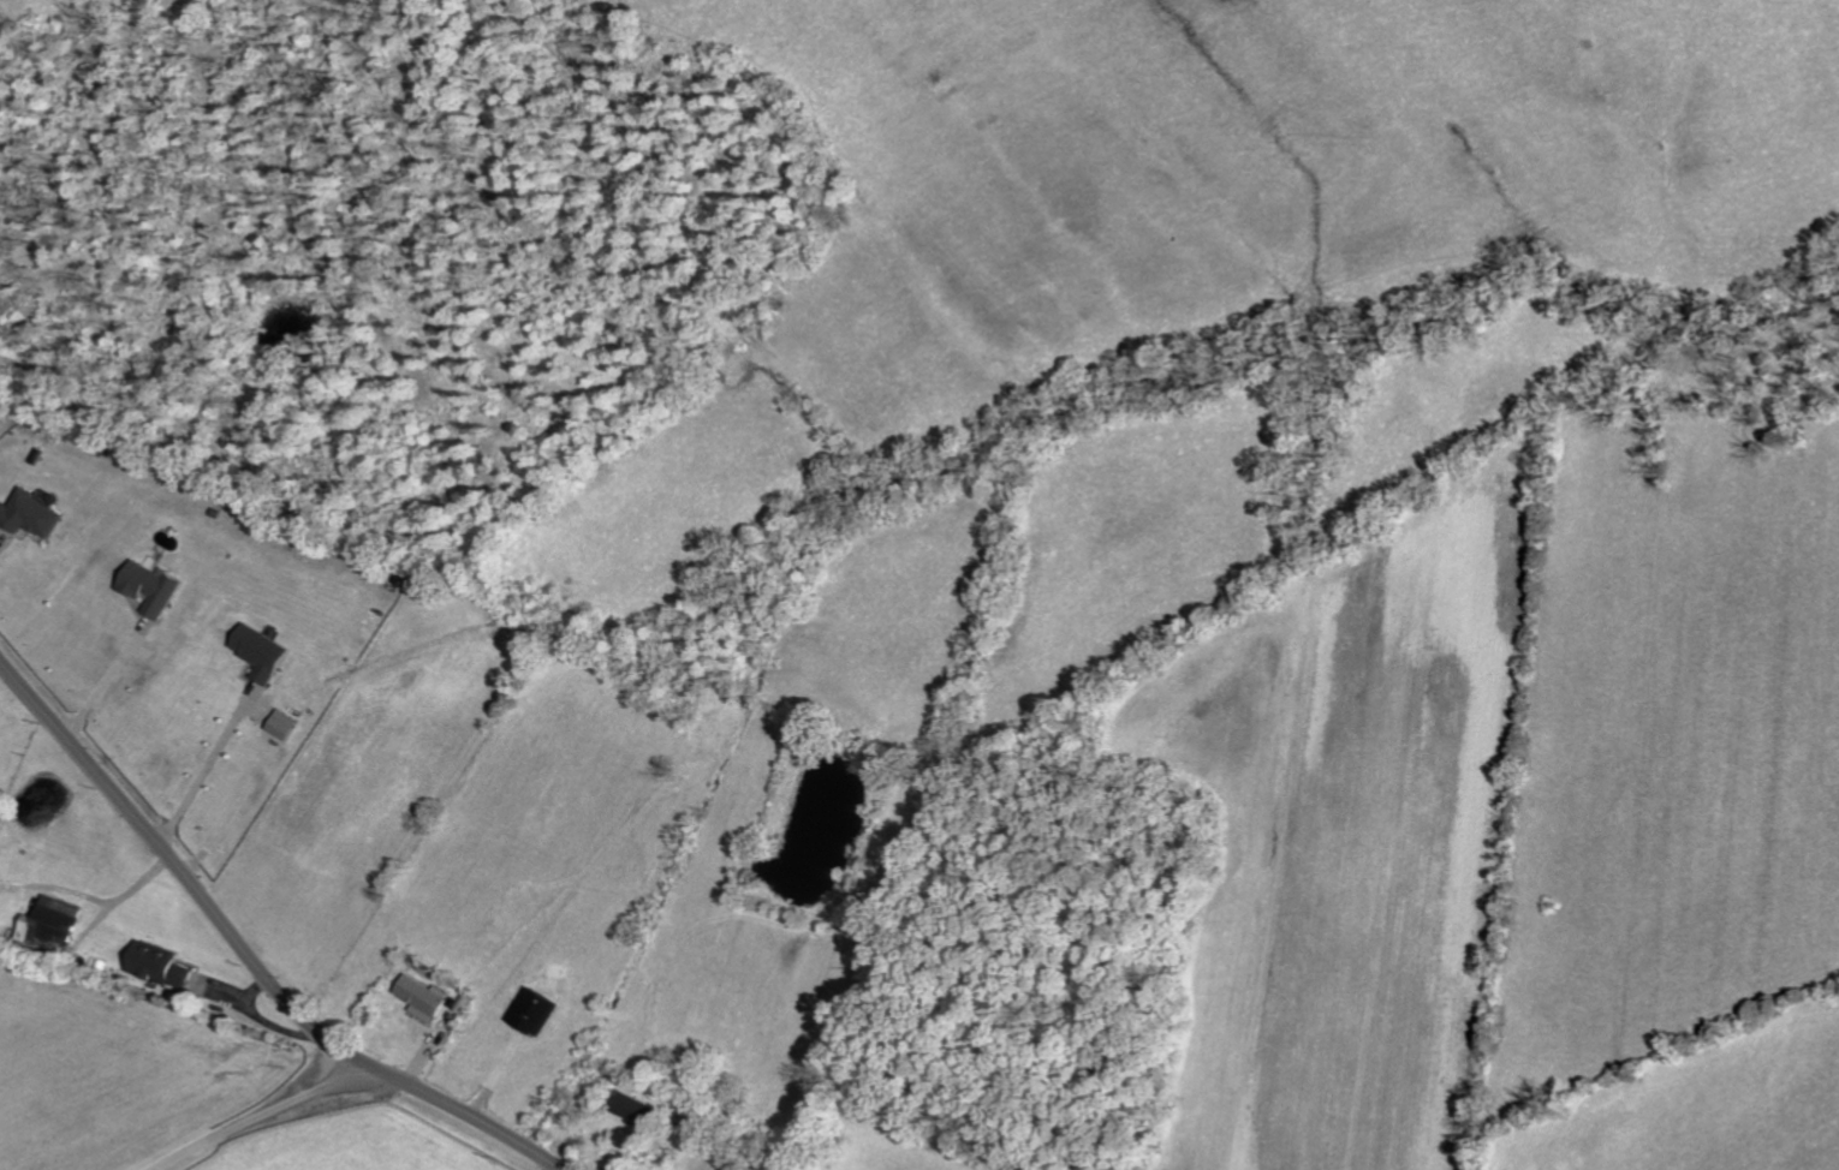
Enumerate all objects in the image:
building: (34, 514)
building: (155, 589)
building: (266, 652)
building: (287, 724)
building: (56, 923)
road: (246, 955)
building: (165, 965)
building: (427, 997)
building: (540, 1011)
building: (636, 1109)
road: (263, 1114)

